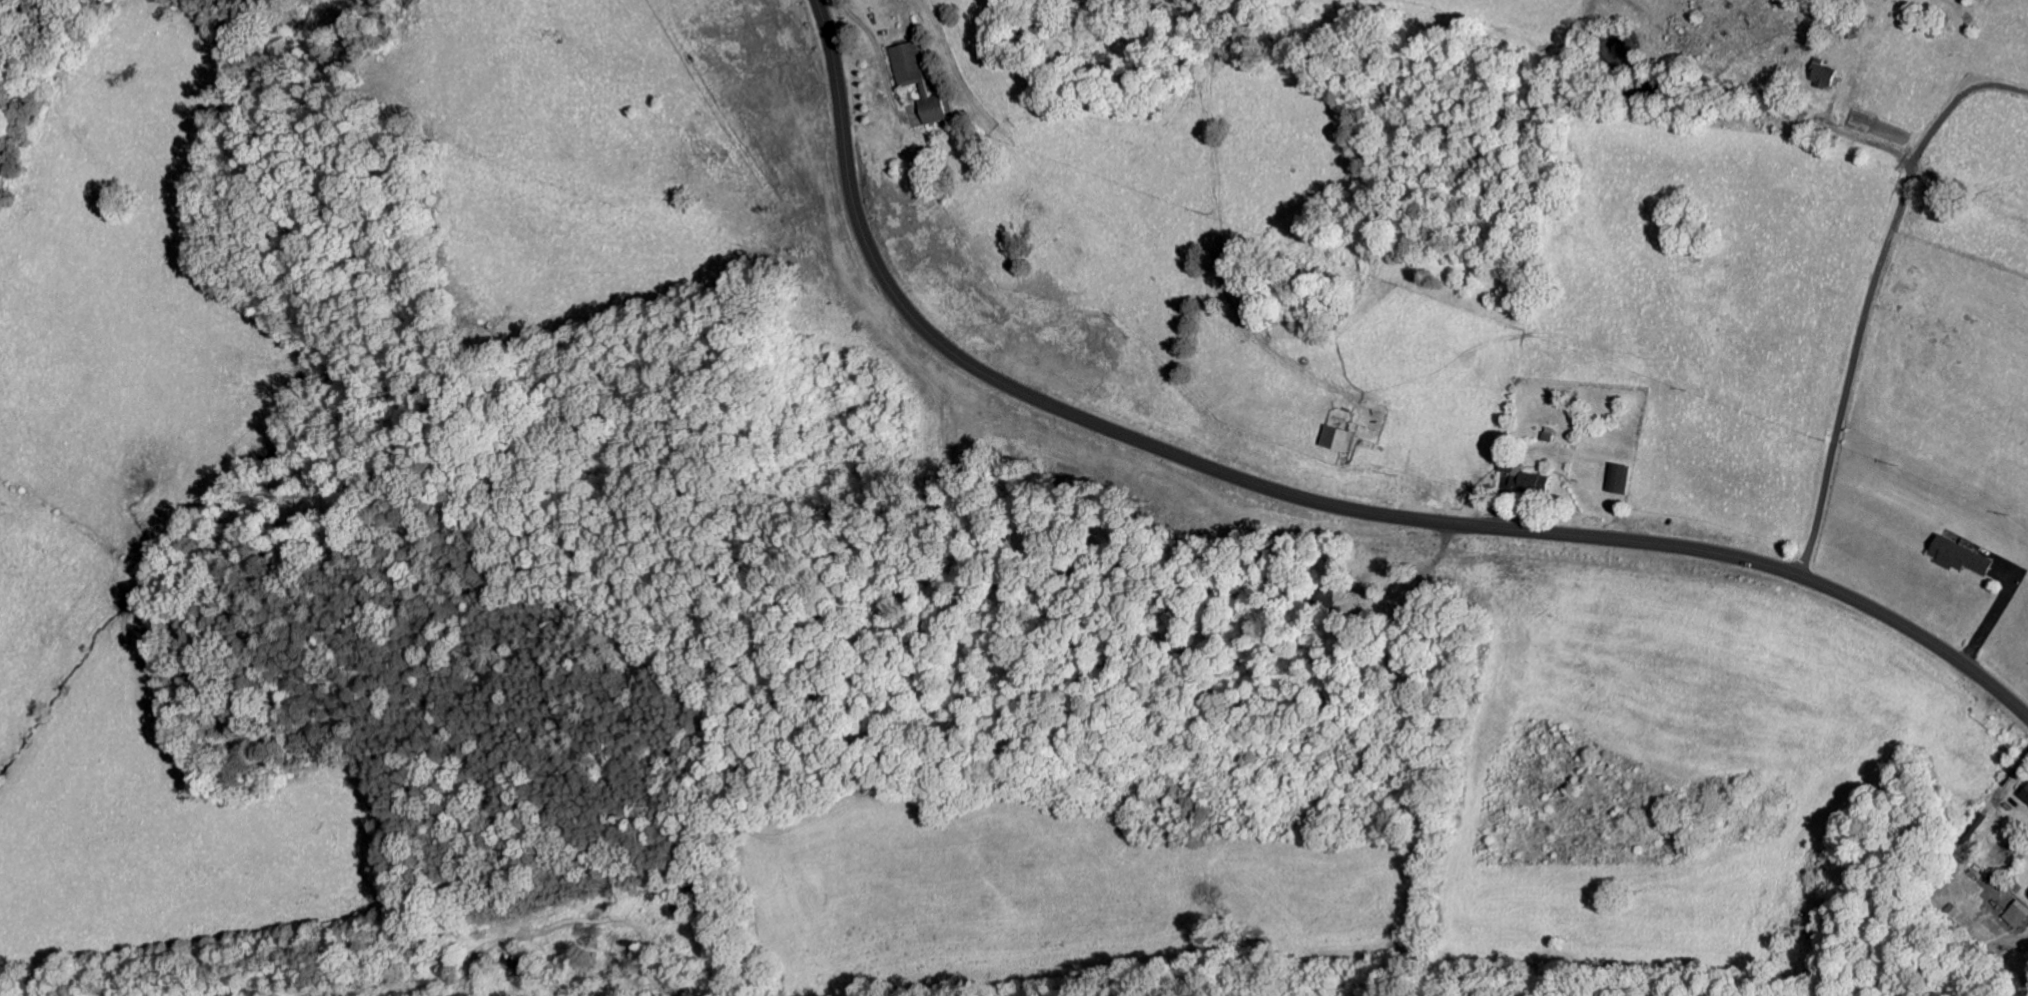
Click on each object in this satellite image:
road: (1859, 326)
building: (1330, 441)
building: (1612, 480)
building: (1518, 481)
road: (1305, 498)
building: (1953, 559)
road: (887, 677)
building: (2023, 796)
building: (1970, 827)
building: (2011, 917)

